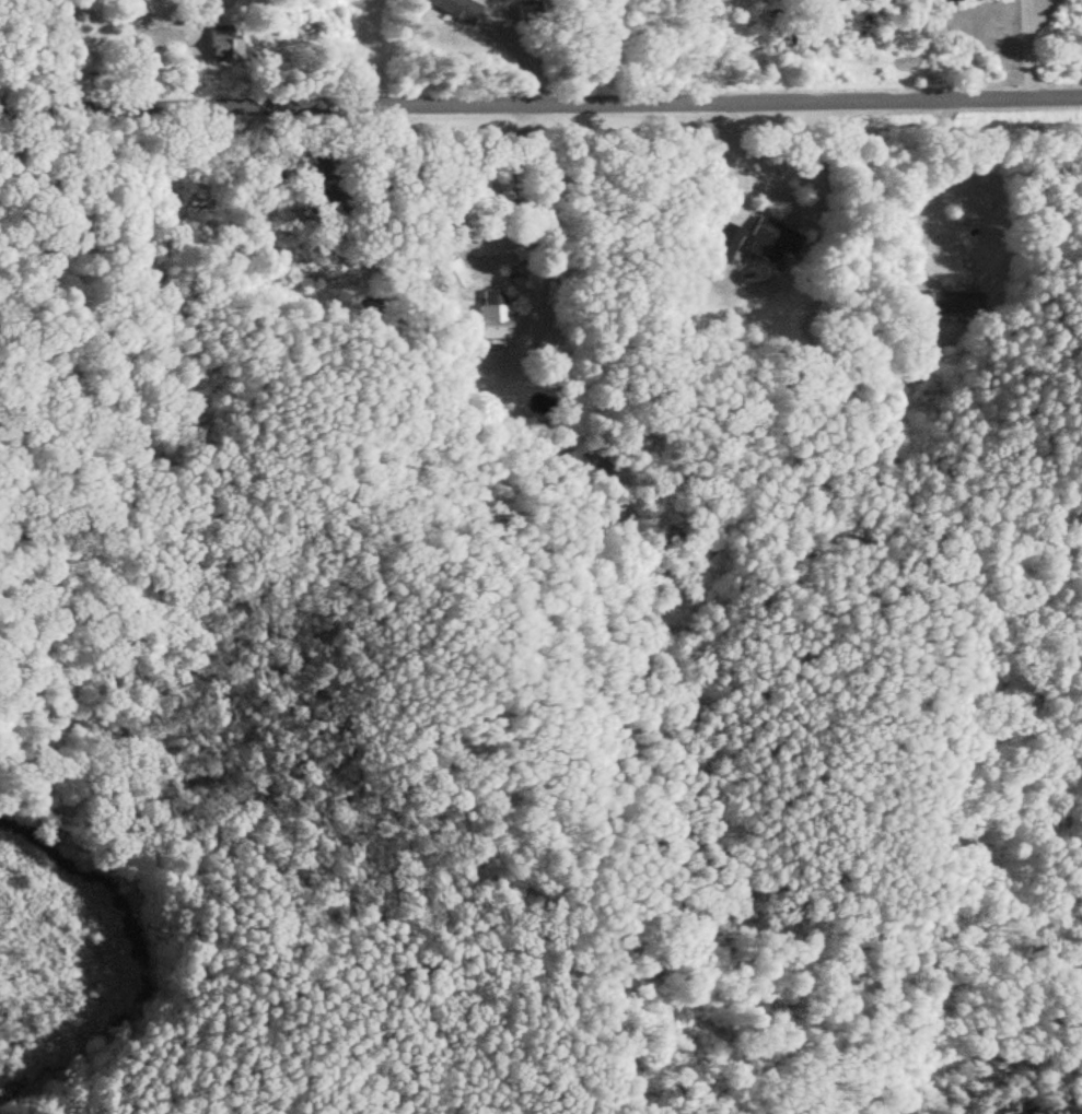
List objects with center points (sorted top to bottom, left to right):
building: (446, 8)
road: (25, 12)
building: (210, 44)
road: (1029, 46)
road: (540, 99)
road: (730, 154)
road: (930, 177)
building: (758, 241)
building: (719, 244)
road: (482, 259)
building: (444, 277)
building: (486, 315)
building: (915, 324)

